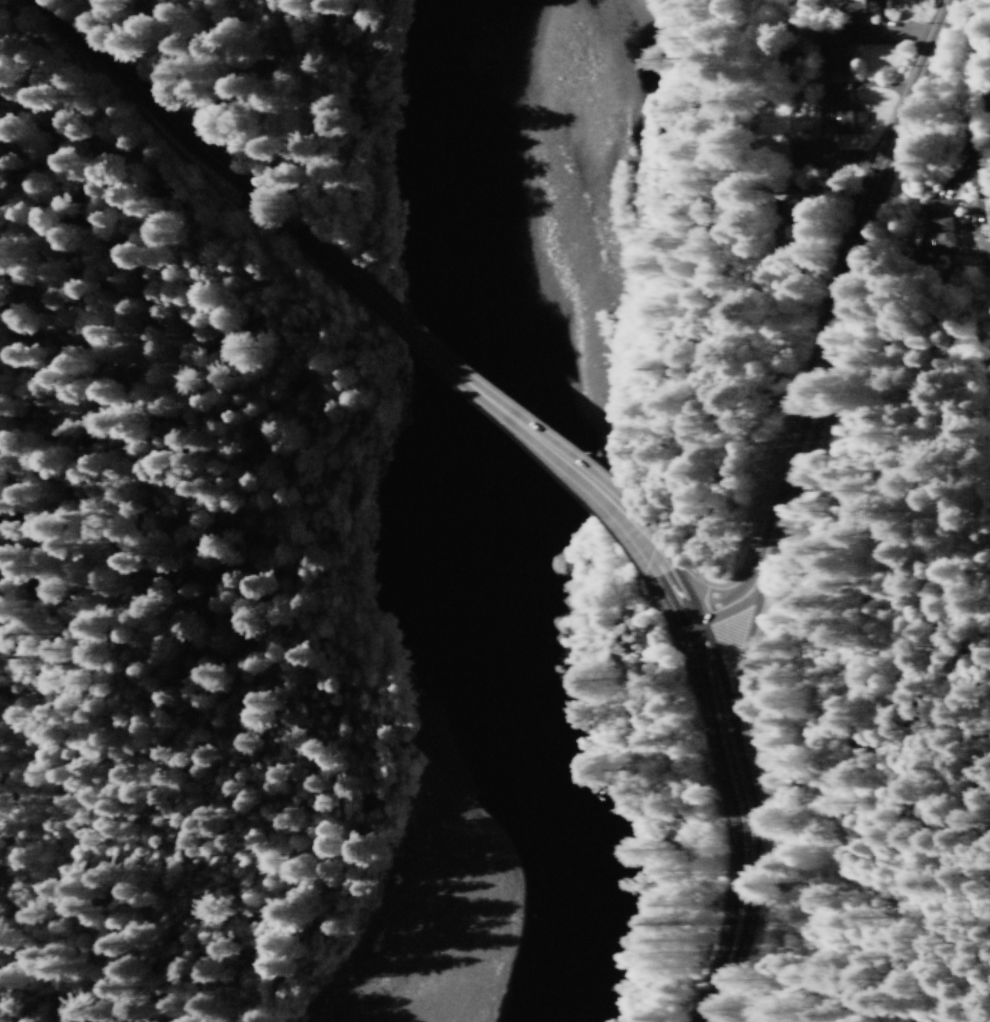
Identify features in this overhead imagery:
building: (831, 49)
road: (298, 102)
building: (845, 112)
road: (166, 128)
river: (512, 139)
building: (942, 222)
building: (983, 249)
road: (274, 266)
road: (153, 297)
road: (817, 317)
road: (493, 403)
road: (673, 591)
river: (517, 654)
road: (361, 777)
road: (731, 822)
road: (919, 837)
road: (840, 859)
road: (917, 950)
road: (974, 961)

